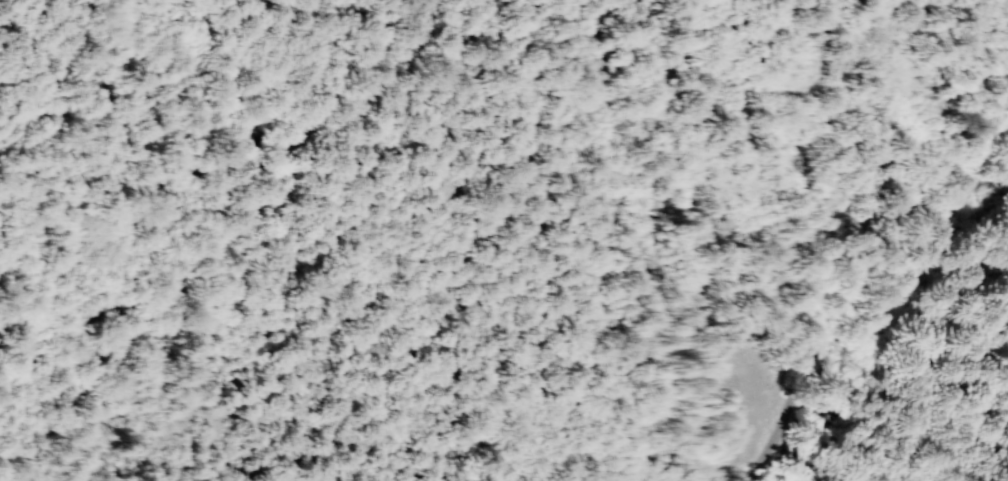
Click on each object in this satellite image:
road: (38, 63)
road: (863, 296)

